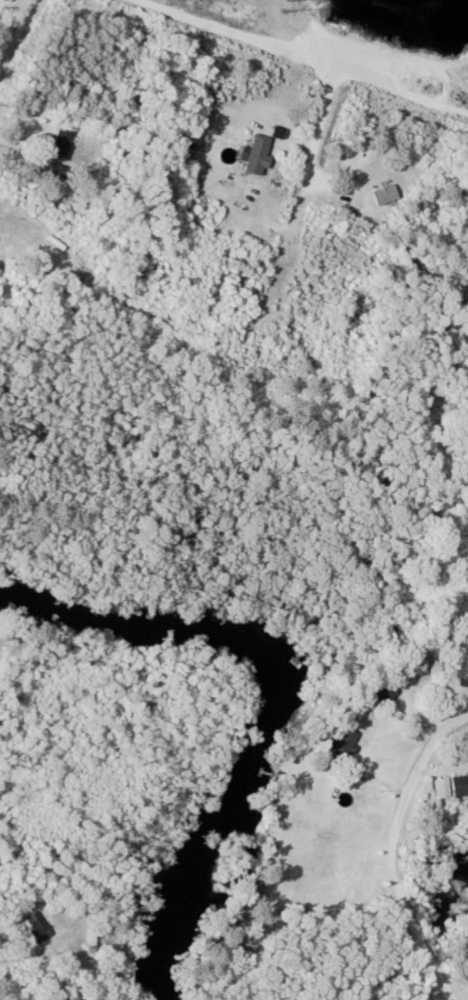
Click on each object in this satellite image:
power tower: (289, 4)
road: (17, 29)
road: (300, 58)
building: (60, 144)
building: (257, 154)
road: (301, 182)
building: (384, 194)
building: (382, 688)
building: (337, 744)
building: (451, 786)
road: (389, 848)
building: (36, 927)

